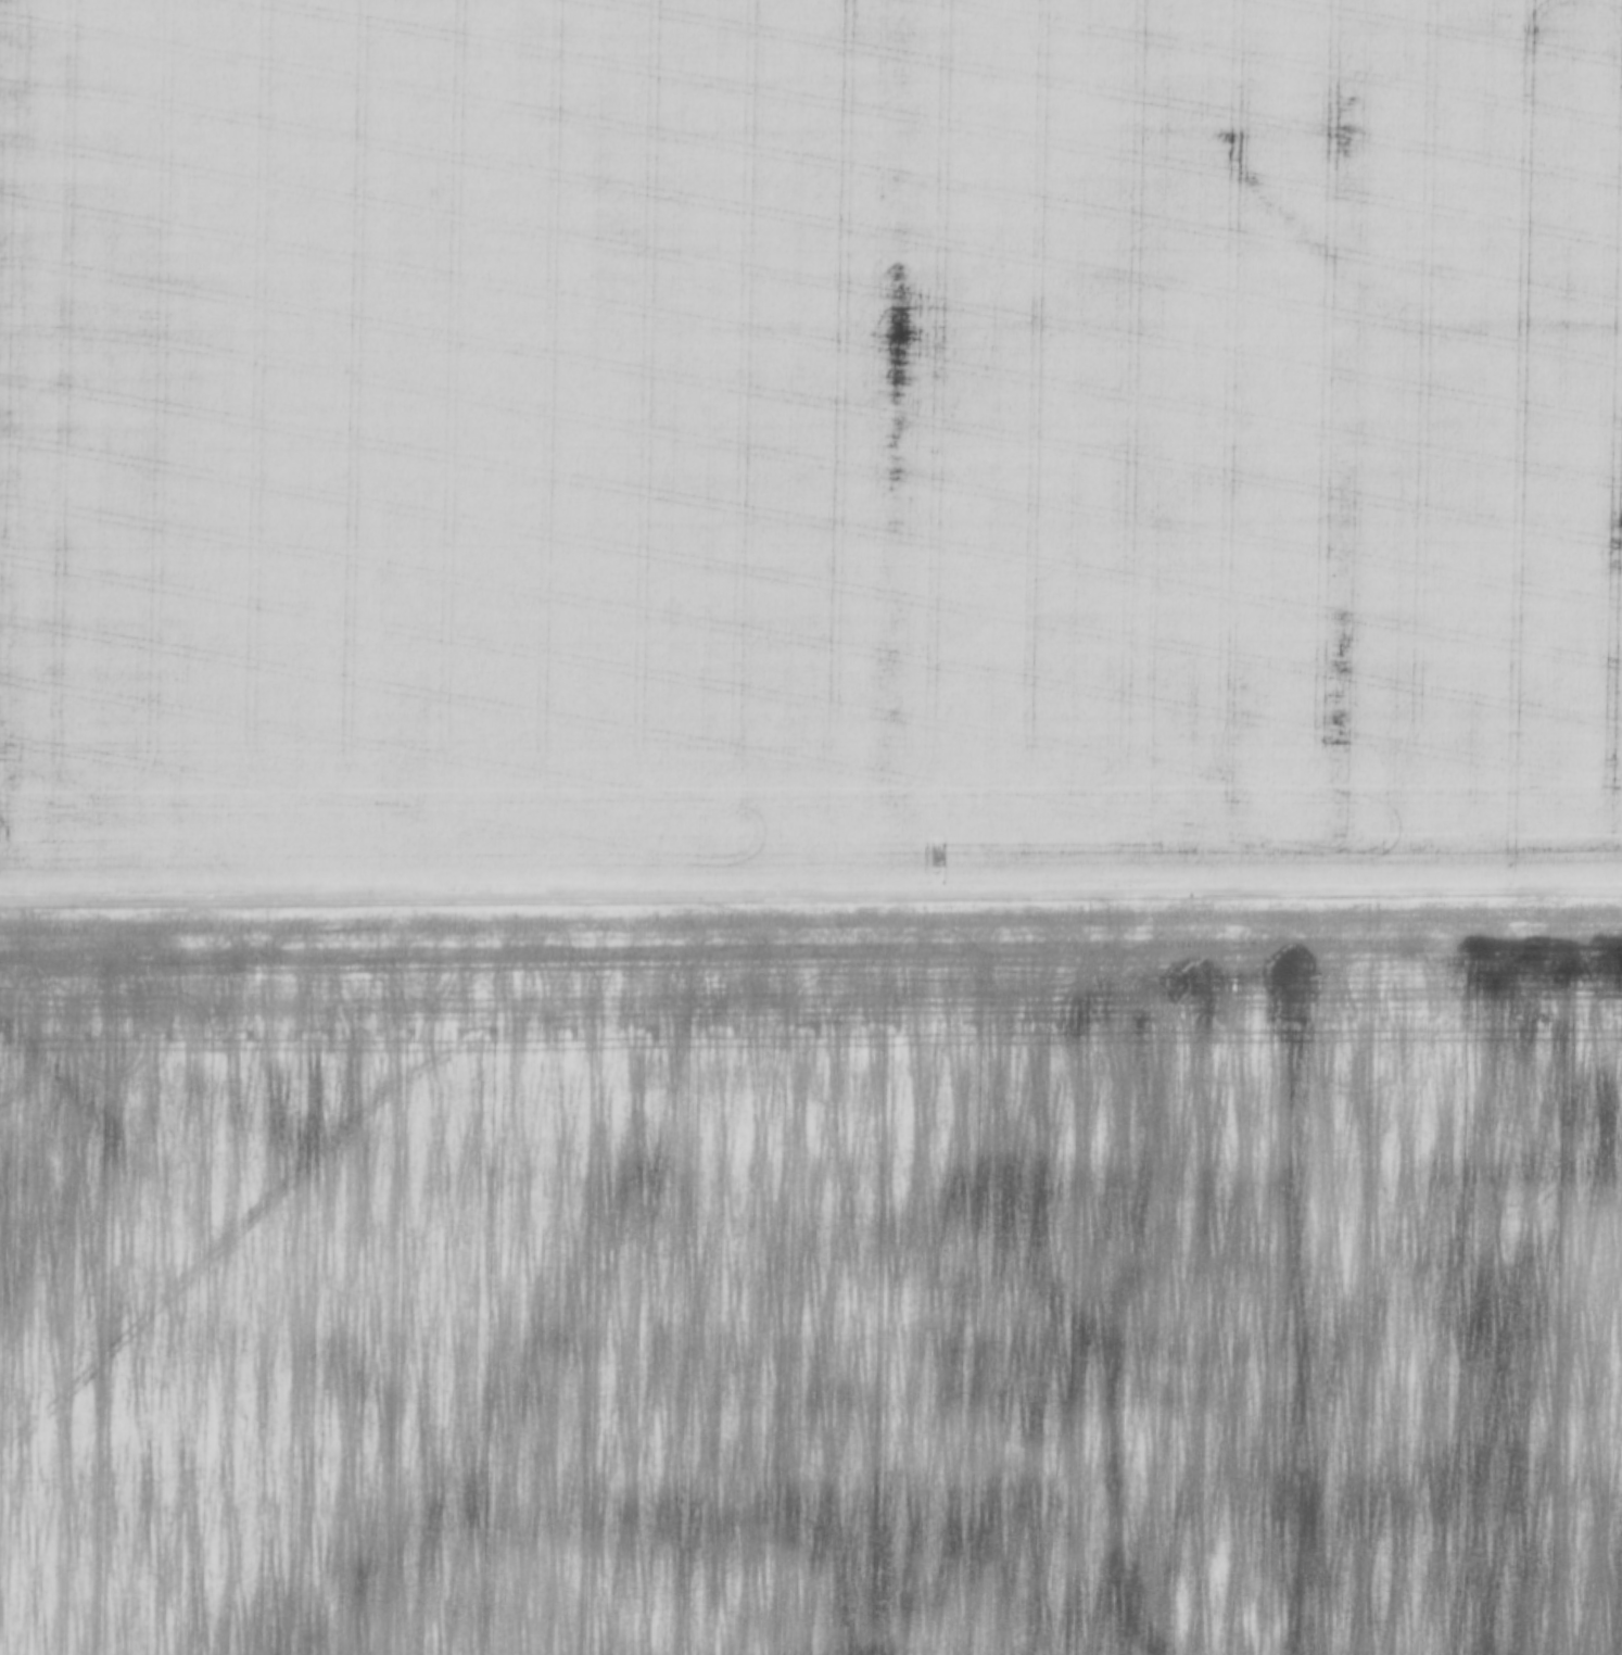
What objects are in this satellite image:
crop: (809, 450)
road: (811, 905)
crop: (814, 1283)

